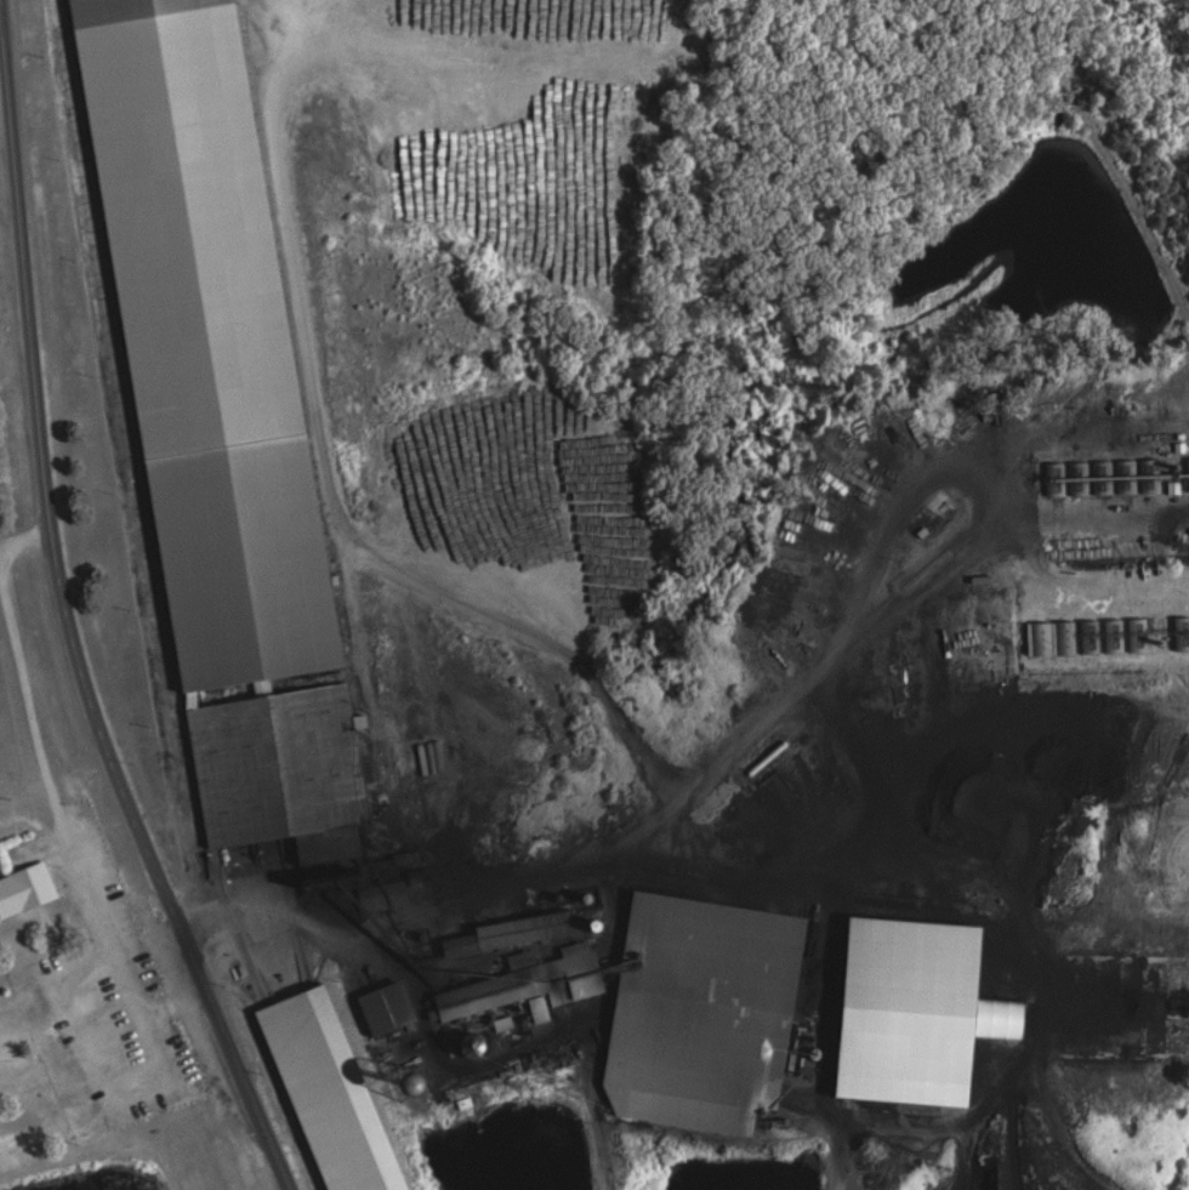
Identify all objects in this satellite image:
road: (328, 432)
road: (980, 519)
road: (27, 537)
road: (67, 614)
building: (266, 624)
road: (558, 651)
building: (291, 770)
road: (66, 826)
road: (585, 862)
building: (30, 888)
road: (859, 939)
building: (545, 958)
building: (704, 1000)
building: (394, 1007)
building: (925, 1010)
road: (470, 1072)
building: (339, 1092)

